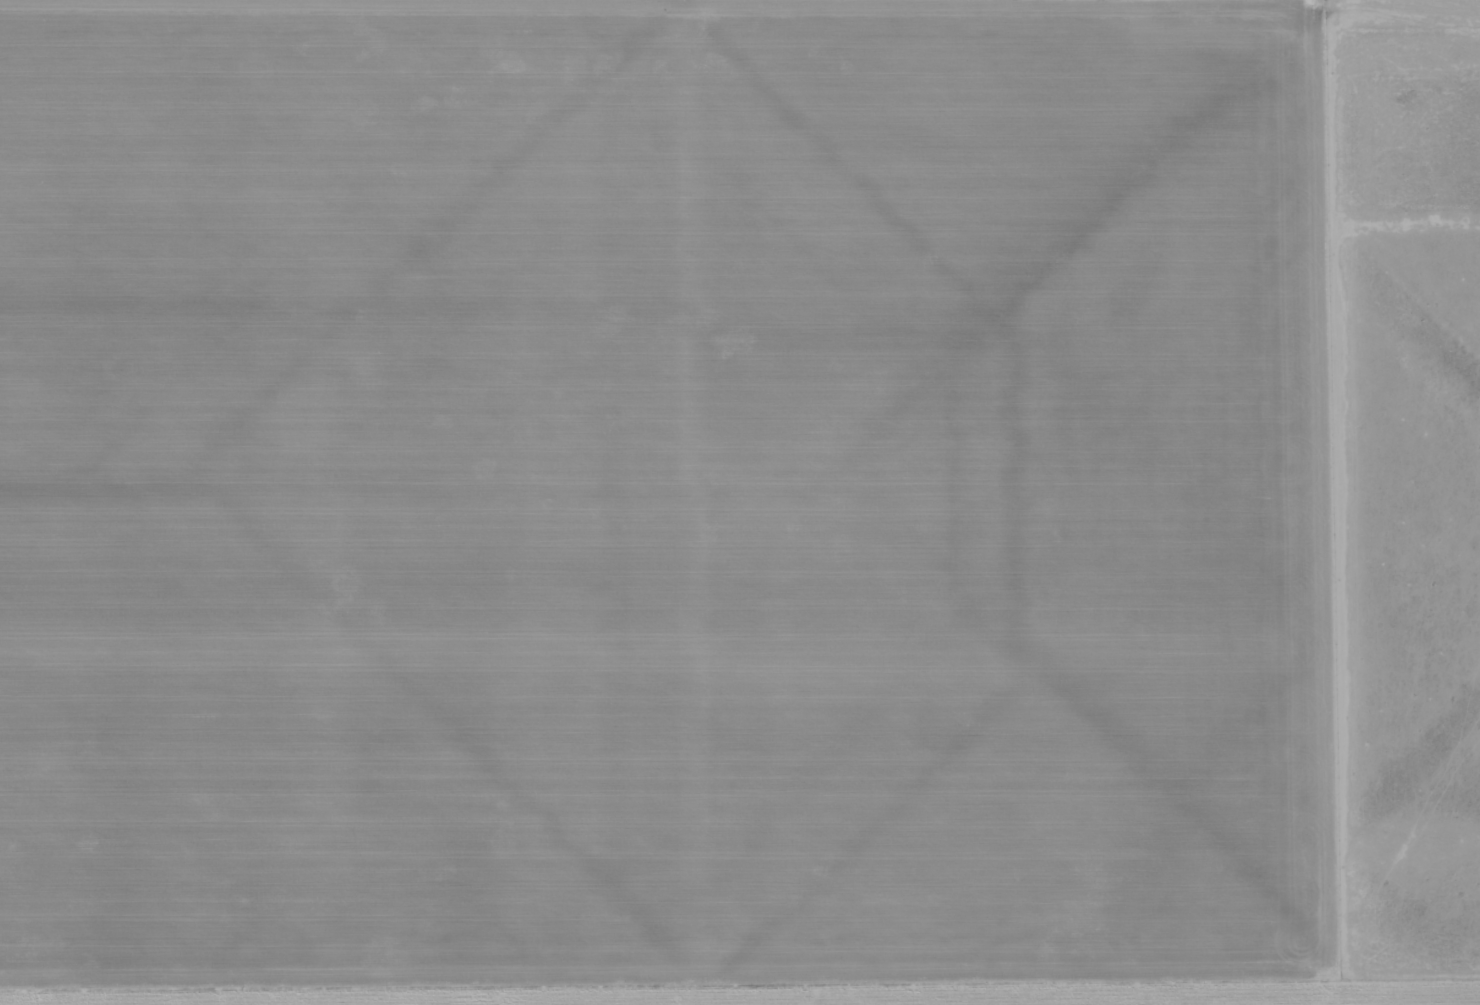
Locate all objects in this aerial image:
road: (1346, 2)
road: (1402, 18)
road: (621, 58)

